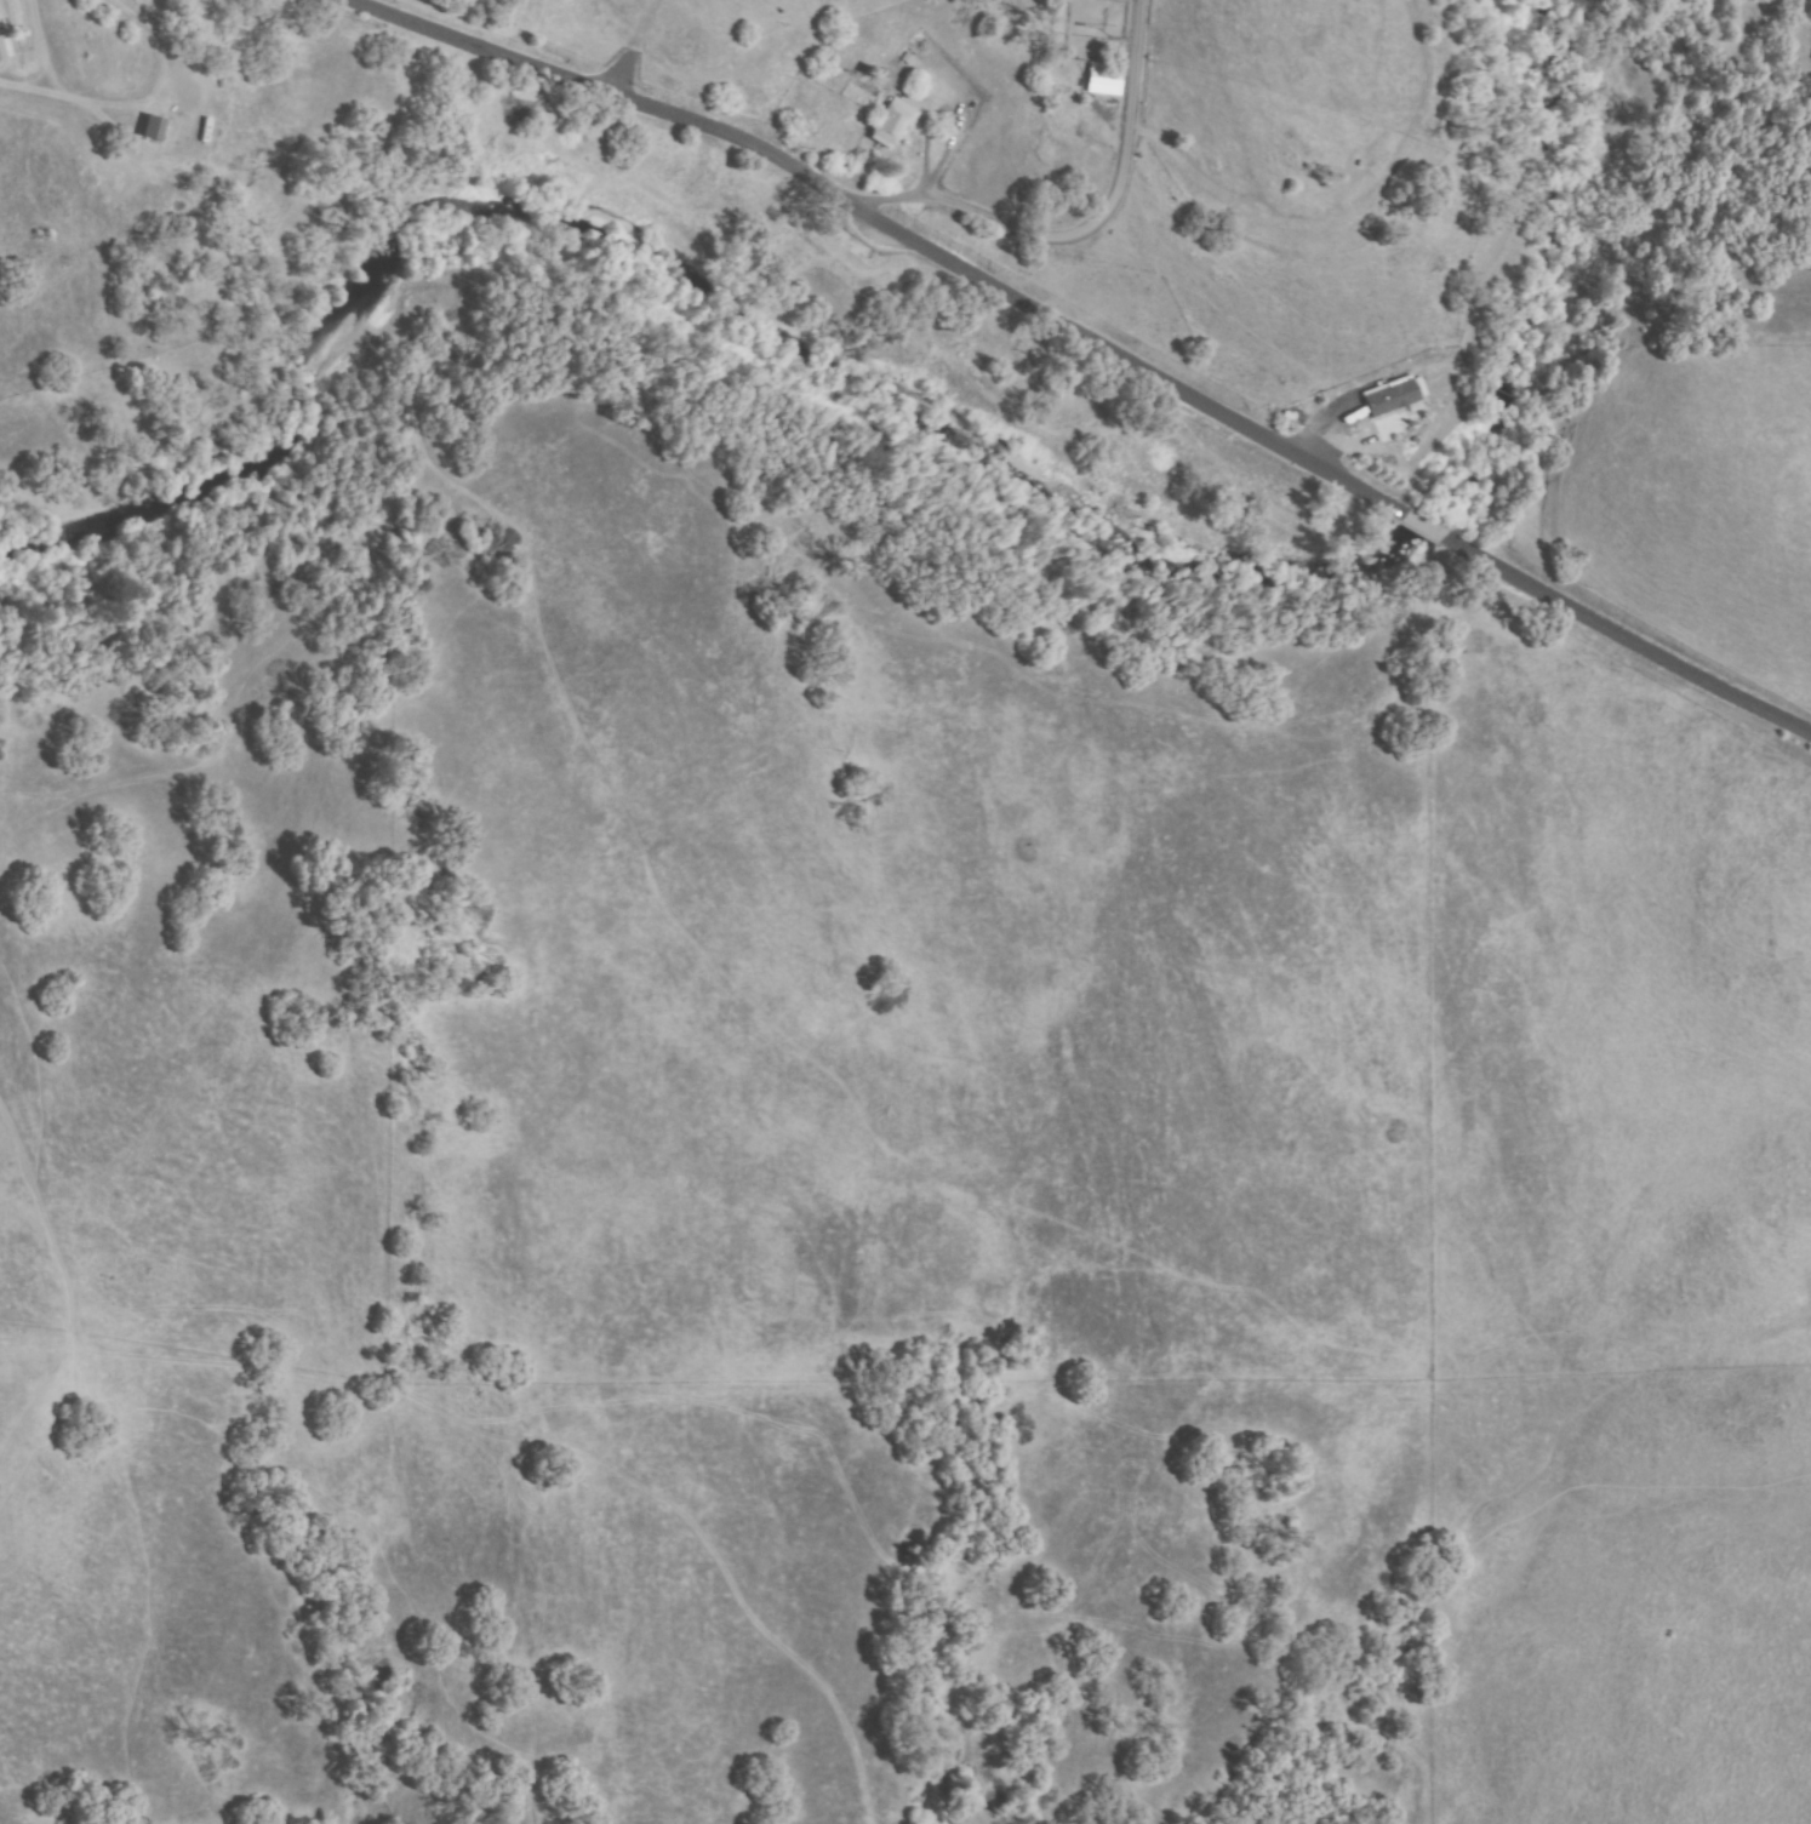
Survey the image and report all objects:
building: (1, 51)
building: (1103, 79)
building: (890, 124)
building: (152, 128)
building: (138, 130)
road: (1085, 234)
road: (1092, 339)
building: (1393, 395)

